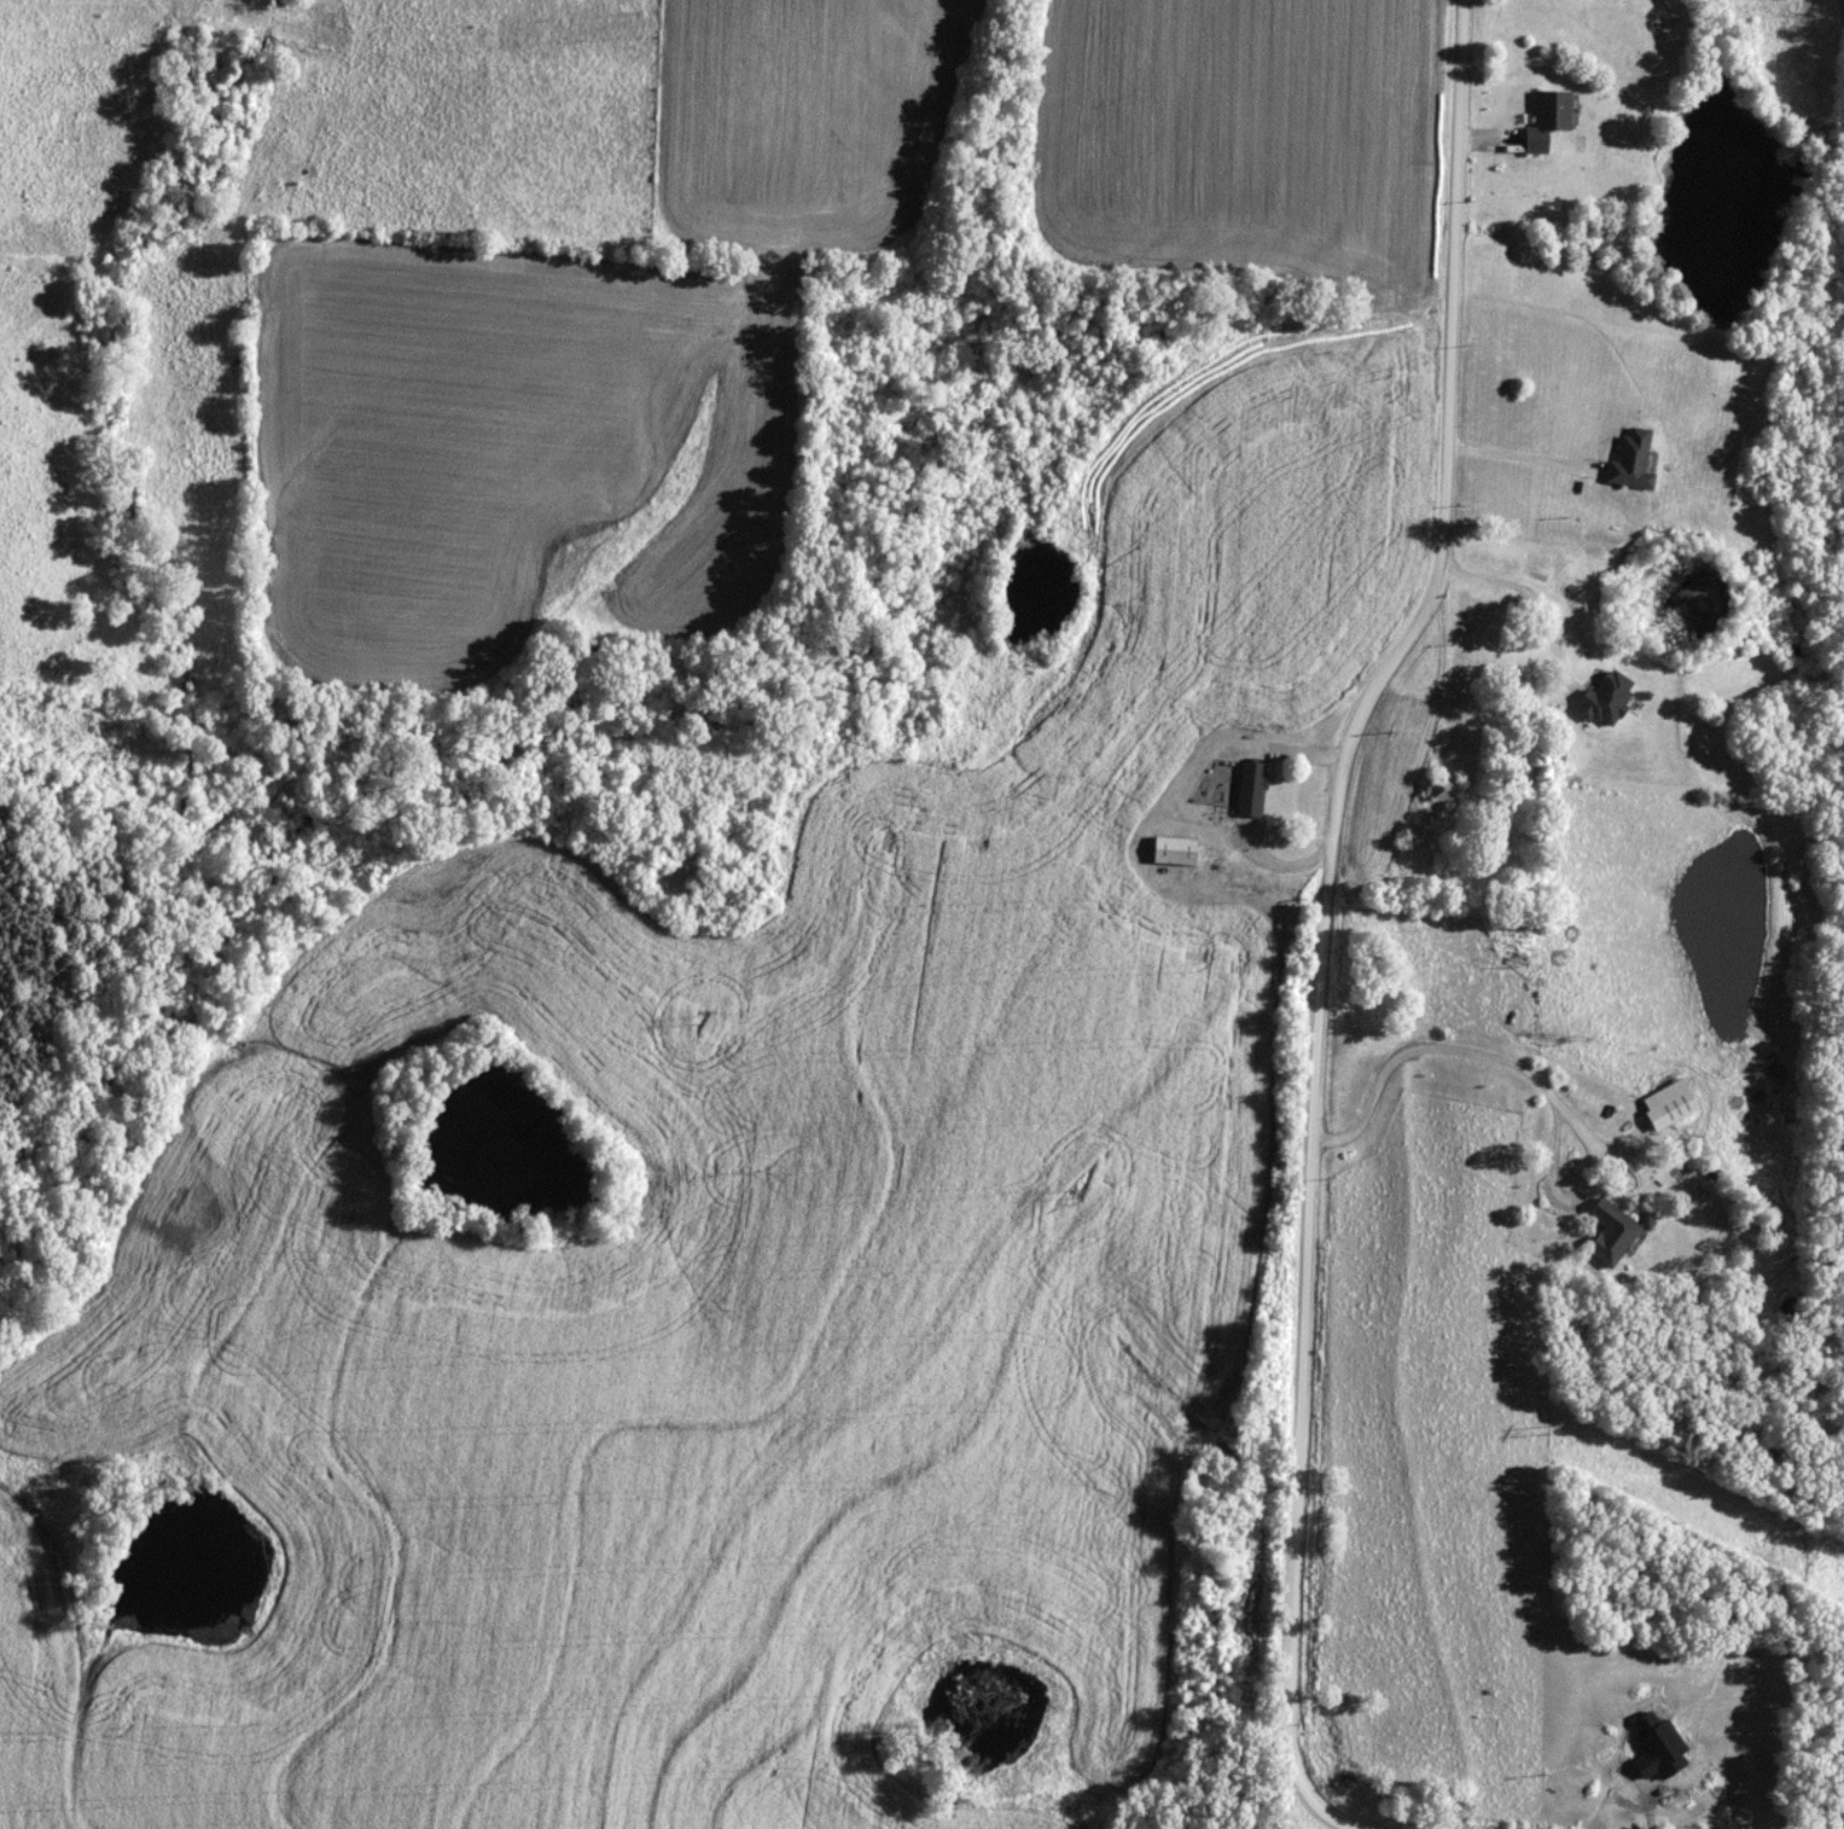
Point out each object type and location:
building: (1543, 118)
building: (1629, 460)
building: (1602, 698)
building: (1247, 789)
building: (1438, 789)
building: (1171, 850)
road: (1314, 979)
road: (1522, 1067)
building: (1665, 1104)
building: (1607, 1232)

